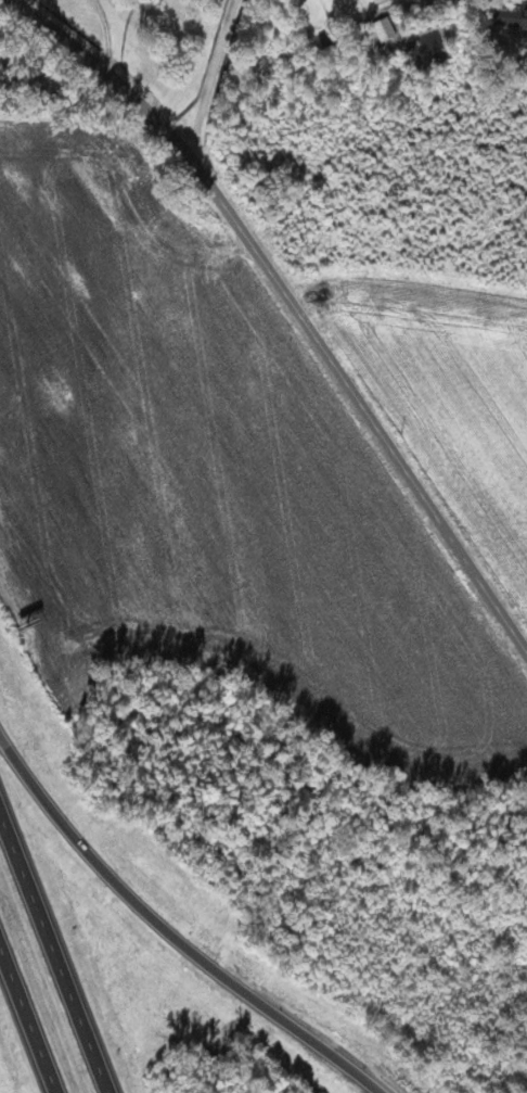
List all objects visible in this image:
building: (381, 1)
building: (513, 16)
road: (204, 73)
road: (293, 305)
road: (170, 931)
road: (55, 948)
road: (29, 1015)

